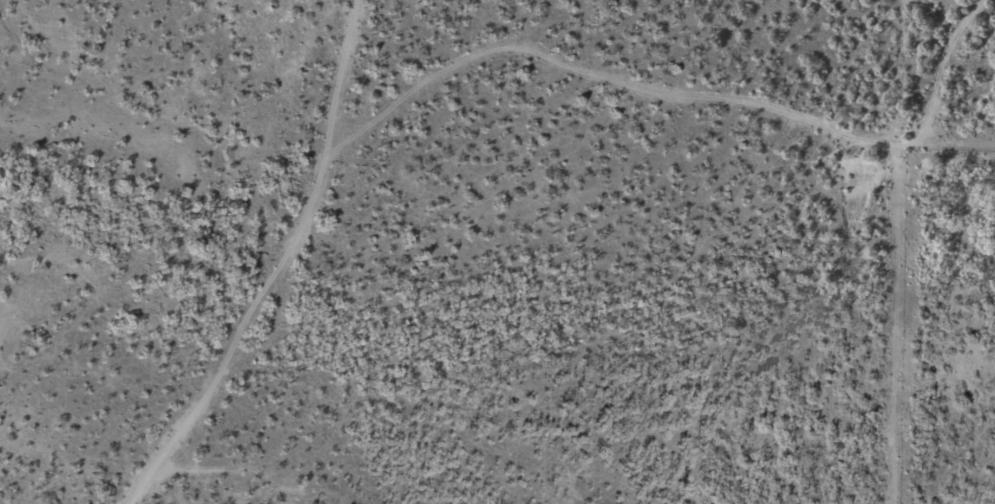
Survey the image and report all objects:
road: (739, 93)
road: (301, 253)

